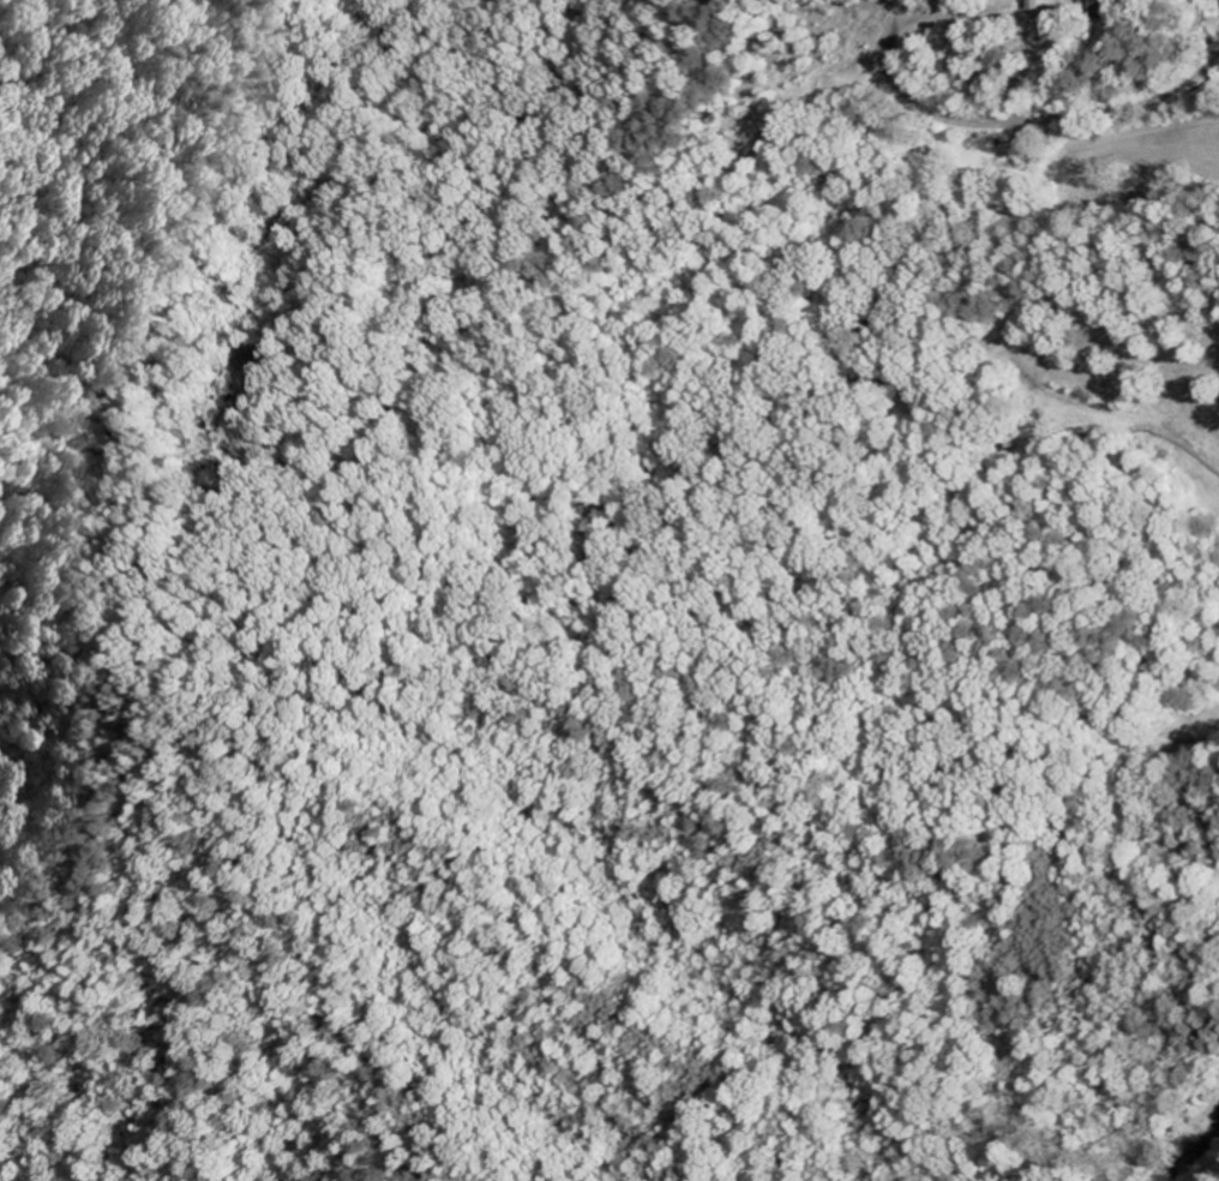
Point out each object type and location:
building: (1044, 5)
road: (883, 65)
road: (1117, 96)

